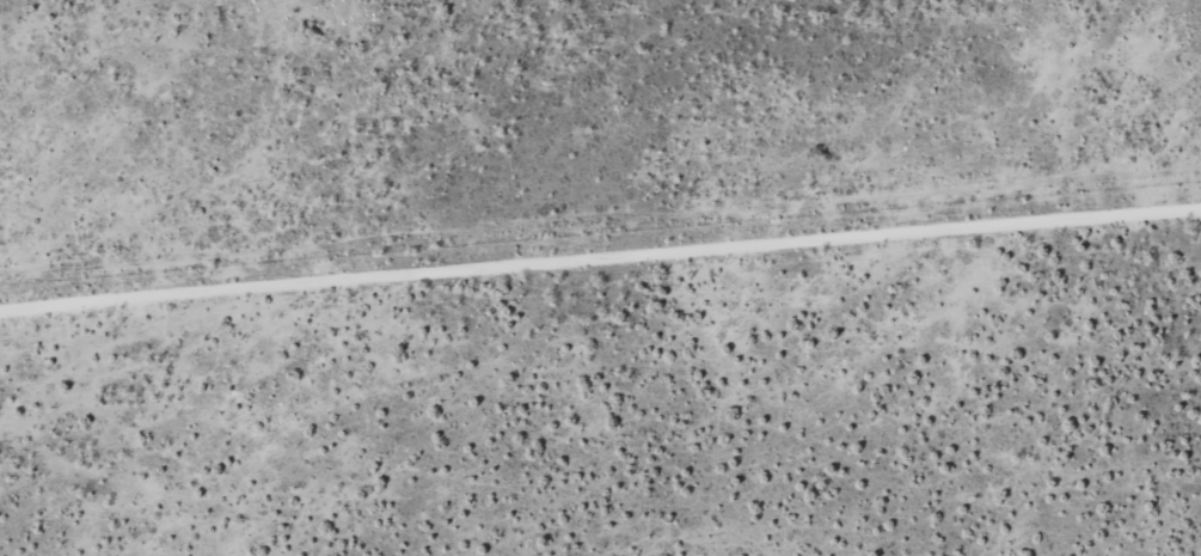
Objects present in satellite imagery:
road: (600, 209)

